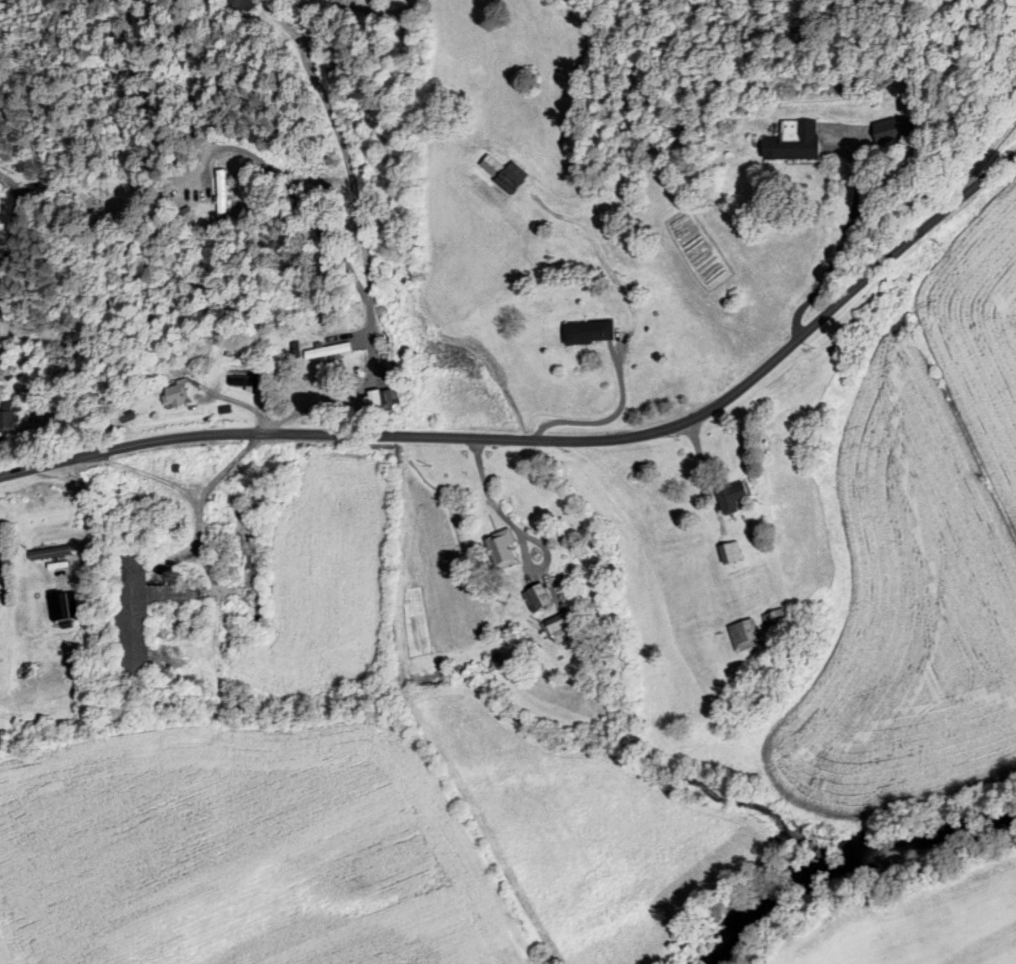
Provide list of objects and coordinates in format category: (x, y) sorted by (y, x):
building: (240, 6)
building: (890, 132)
building: (792, 143)
building: (502, 174)
building: (219, 195)
building: (183, 216)
road: (11, 227)
road: (357, 241)
road: (836, 247)
building: (587, 334)
road: (626, 335)
building: (325, 353)
building: (241, 383)
building: (173, 396)
building: (5, 425)
road: (554, 440)
road: (226, 465)
road: (485, 492)
road: (185, 495)
building: (730, 497)
building: (166, 526)
building: (500, 550)
building: (728, 554)
building: (48, 555)
building: (535, 598)
building: (140, 609)
building: (773, 618)
building: (558, 628)
building: (742, 636)
river: (849, 857)

